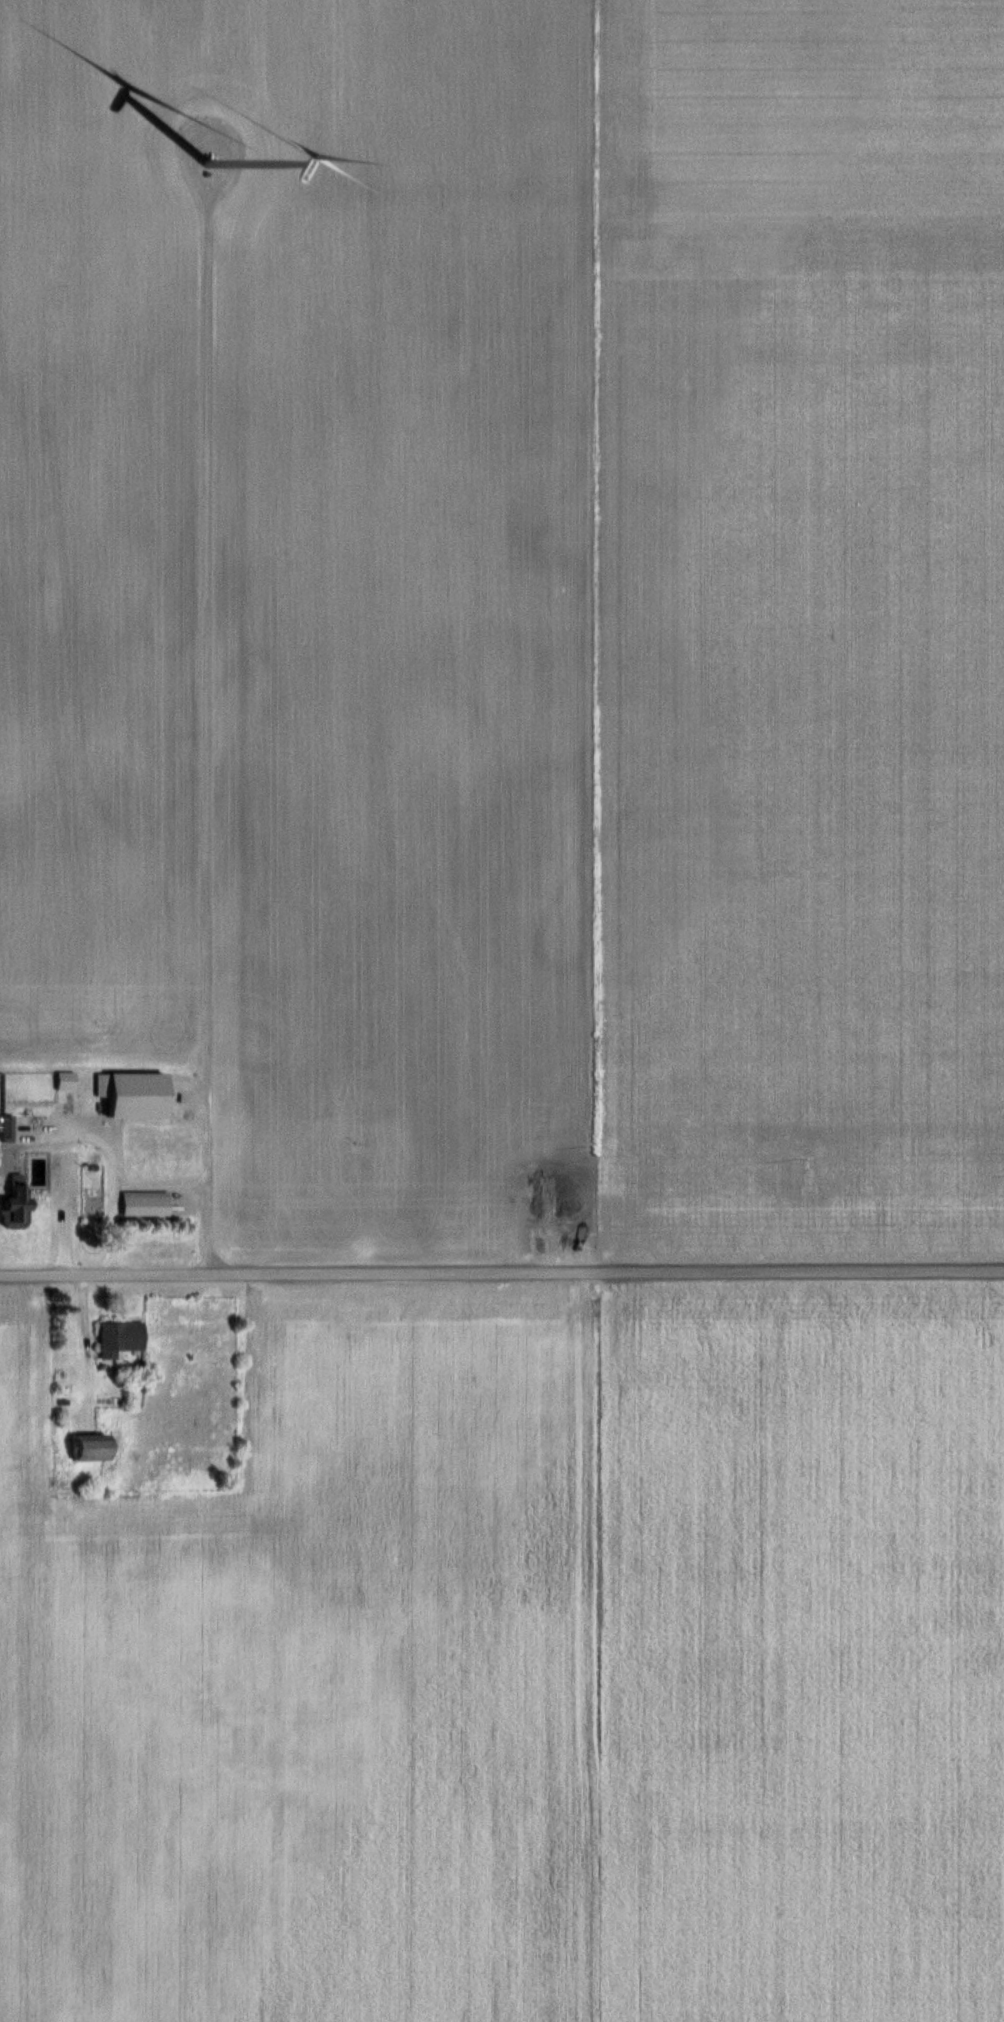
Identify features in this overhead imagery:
wind turbine: (192, 165)
road: (200, 744)
building: (10, 1128)
road: (103, 1164)
building: (553, 1192)
building: (19, 1202)
building: (148, 1203)
road: (501, 1279)
building: (122, 1337)
building: (97, 1447)

